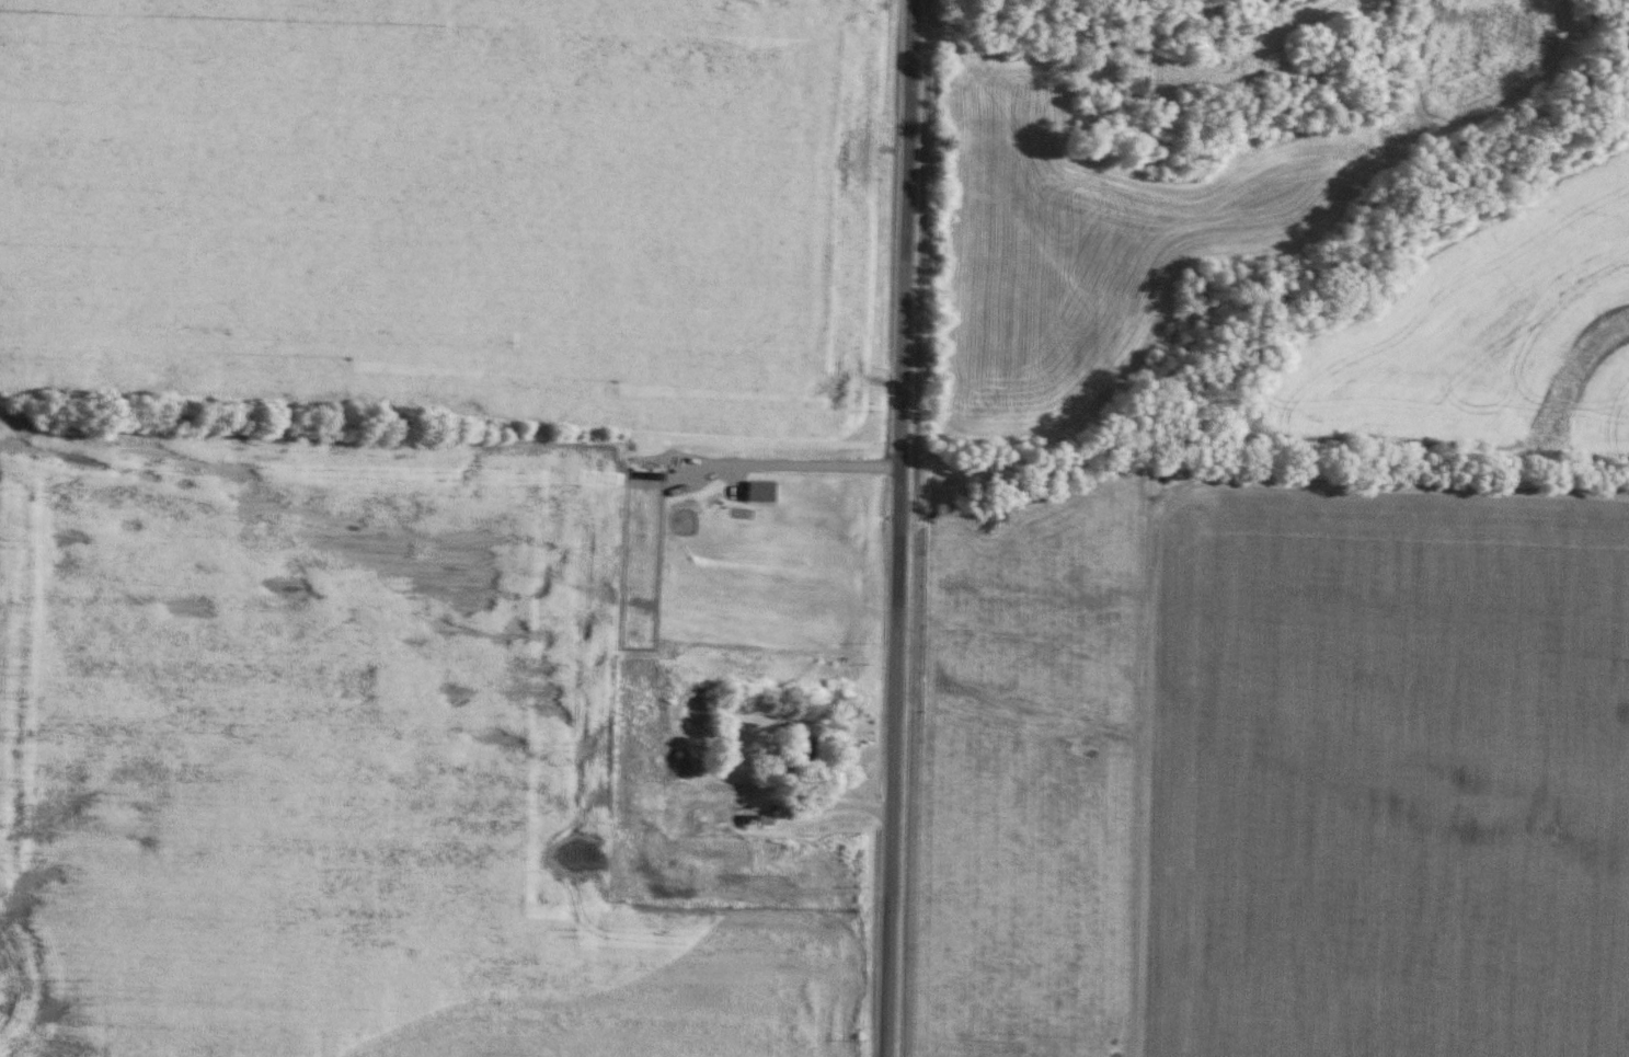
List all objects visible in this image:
road: (898, 528)
road: (831, 804)
building: (748, 819)
building: (766, 820)

